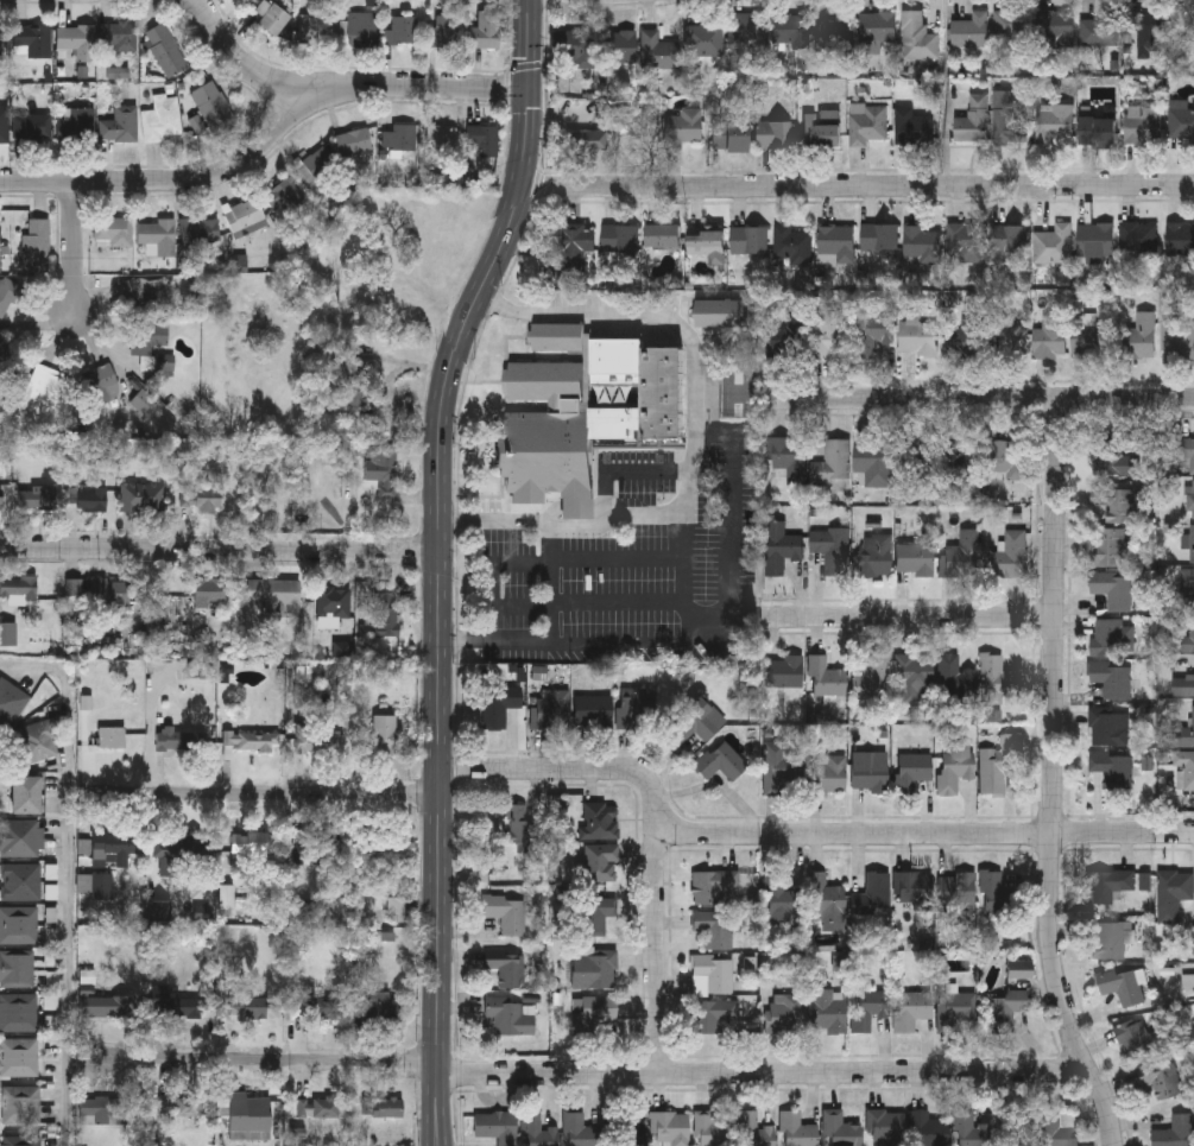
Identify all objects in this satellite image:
building: (272, 18)
building: (1012, 27)
building: (314, 29)
building: (361, 30)
building: (402, 30)
building: (444, 31)
building: (486, 31)
building: (791, 32)
building: (879, 32)
building: (1056, 32)
building: (747, 33)
building: (971, 33)
building: (834, 34)
building: (1145, 34)
building: (118, 37)
building: (33, 39)
building: (76, 39)
building: (706, 39)
building: (917, 39)
building: (1100, 43)
building: (0, 44)
building: (618, 48)
building: (165, 50)
building: (659, 53)
road: (244, 69)
traffic signals: (530, 90)
building: (211, 105)
building: (162, 119)
building: (625, 119)
building: (76, 122)
building: (1006, 122)
building: (1181, 122)
building: (4, 124)
building: (120, 125)
building: (32, 126)
building: (866, 126)
building: (1055, 126)
building: (1142, 127)
building: (683, 128)
building: (972, 129)
building: (822, 131)
building: (912, 131)
building: (1098, 134)
building: (775, 135)
building: (729, 138)
building: (442, 139)
building: (482, 139)
building: (398, 140)
building: (352, 141)
building: (598, 141)
road: (267, 144)
building: (314, 164)
road: (857, 188)
building: (284, 194)
building: (413, 211)
building: (242, 214)
building: (200, 230)
building: (113, 232)
building: (157, 235)
building: (663, 239)
building: (31, 240)
building: (965, 240)
building: (1138, 240)
building: (620, 241)
building: (879, 241)
building: (1007, 241)
building: (1095, 242)
building: (1180, 242)
building: (748, 243)
building: (836, 246)
building: (922, 246)
road: (77, 247)
building: (1054, 247)
building: (576, 248)
building: (791, 248)
building: (708, 249)
building: (144, 291)
building: (6, 293)
building: (721, 316)
building: (1006, 331)
building: (873, 335)
building: (146, 336)
building: (789, 337)
building: (830, 337)
building: (1051, 337)
building: (971, 338)
building: (1139, 338)
building: (917, 340)
building: (1089, 340)
building: (1177, 340)
building: (2, 350)
building: (102, 382)
building: (356, 384)
building: (40, 386)
road: (983, 399)
building: (585, 412)
road: (697, 435)
building: (4, 450)
building: (1003, 458)
building: (1184, 458)
building: (1108, 460)
building: (379, 463)
building: (794, 464)
building: (958, 464)
building: (833, 466)
building: (874, 466)
building: (920, 466)
road: (650, 475)
building: (36, 496)
building: (143, 496)
building: (0, 498)
building: (86, 498)
building: (202, 499)
building: (1193, 501)
building: (1114, 506)
road: (577, 508)
road: (547, 512)
road: (605, 513)
building: (1192, 546)
road: (221, 550)
building: (781, 550)
building: (1108, 550)
building: (830, 551)
building: (1016, 556)
building: (876, 557)
building: (961, 559)
building: (915, 561)
road: (442, 565)
building: (1187, 583)
road: (556, 585)
building: (18, 587)
building: (208, 590)
building: (108, 591)
building: (1113, 591)
building: (276, 594)
road: (669, 601)
building: (333, 602)
building: (386, 613)
road: (914, 615)
building: (7, 633)
building: (1192, 635)
road: (690, 640)
building: (1111, 640)
building: (784, 673)
building: (826, 679)
building: (873, 679)
building: (914, 679)
building: (955, 679)
building: (998, 680)
building: (1112, 680)
building: (1183, 688)
building: (11, 701)
building: (501, 705)
building: (551, 711)
building: (594, 711)
building: (630, 715)
building: (695, 723)
building: (1108, 729)
building: (381, 734)
building: (112, 737)
building: (1183, 737)
building: (173, 739)
building: (38, 740)
building: (249, 740)
building: (315, 740)
building: (721, 762)
building: (1000, 764)
road: (576, 765)
building: (783, 767)
building: (955, 768)
building: (1112, 770)
building: (1186, 773)
building: (828, 775)
building: (915, 775)
road: (1054, 777)
building: (870, 779)
building: (25, 793)
road: (265, 794)
building: (585, 818)
building: (518, 824)
road: (855, 834)
road: (1124, 834)
building: (21, 836)
building: (251, 840)
building: (385, 841)
building: (316, 842)
building: (113, 843)
building: (176, 843)
building: (605, 854)
road: (69, 873)
building: (20, 881)
building: (1108, 885)
building: (714, 886)
building: (916, 889)
building: (878, 891)
building: (958, 891)
building: (996, 894)
building: (1171, 895)
building: (781, 899)
building: (826, 899)
building: (506, 913)
building: (596, 918)
building: (18, 924)
building: (715, 929)
building: (1110, 942)
road: (658, 950)
building: (17, 967)
building: (593, 969)
building: (1022, 970)
building: (505, 971)
building: (713, 976)
building: (1123, 987)
building: (175, 1001)
building: (1011, 1002)
building: (105, 1005)
building: (381, 1006)
building: (248, 1007)
building: (324, 1007)
building: (871, 1008)
building: (912, 1011)
building: (956, 1011)
building: (18, 1012)
building: (827, 1013)
building: (592, 1014)
building: (784, 1014)
building: (713, 1015)
building: (512, 1017)
building: (1136, 1041)
building: (18, 1056)
road: (264, 1062)
road: (765, 1065)
building: (1161, 1085)
building: (21, 1103)
building: (181, 1106)
building: (317, 1107)
building: (381, 1107)
building: (103, 1109)
building: (248, 1116)
building: (497, 1127)
building: (886, 1127)
building: (1018, 1128)
building: (1060, 1128)
building: (670, 1129)
building: (971, 1129)
building: (580, 1131)
building: (712, 1131)
building: (754, 1131)
building: (797, 1131)
building: (840, 1131)
building: (927, 1131)
building: (539, 1132)
building: (626, 1133)
building: (1176, 1133)
building: (20, 1140)

